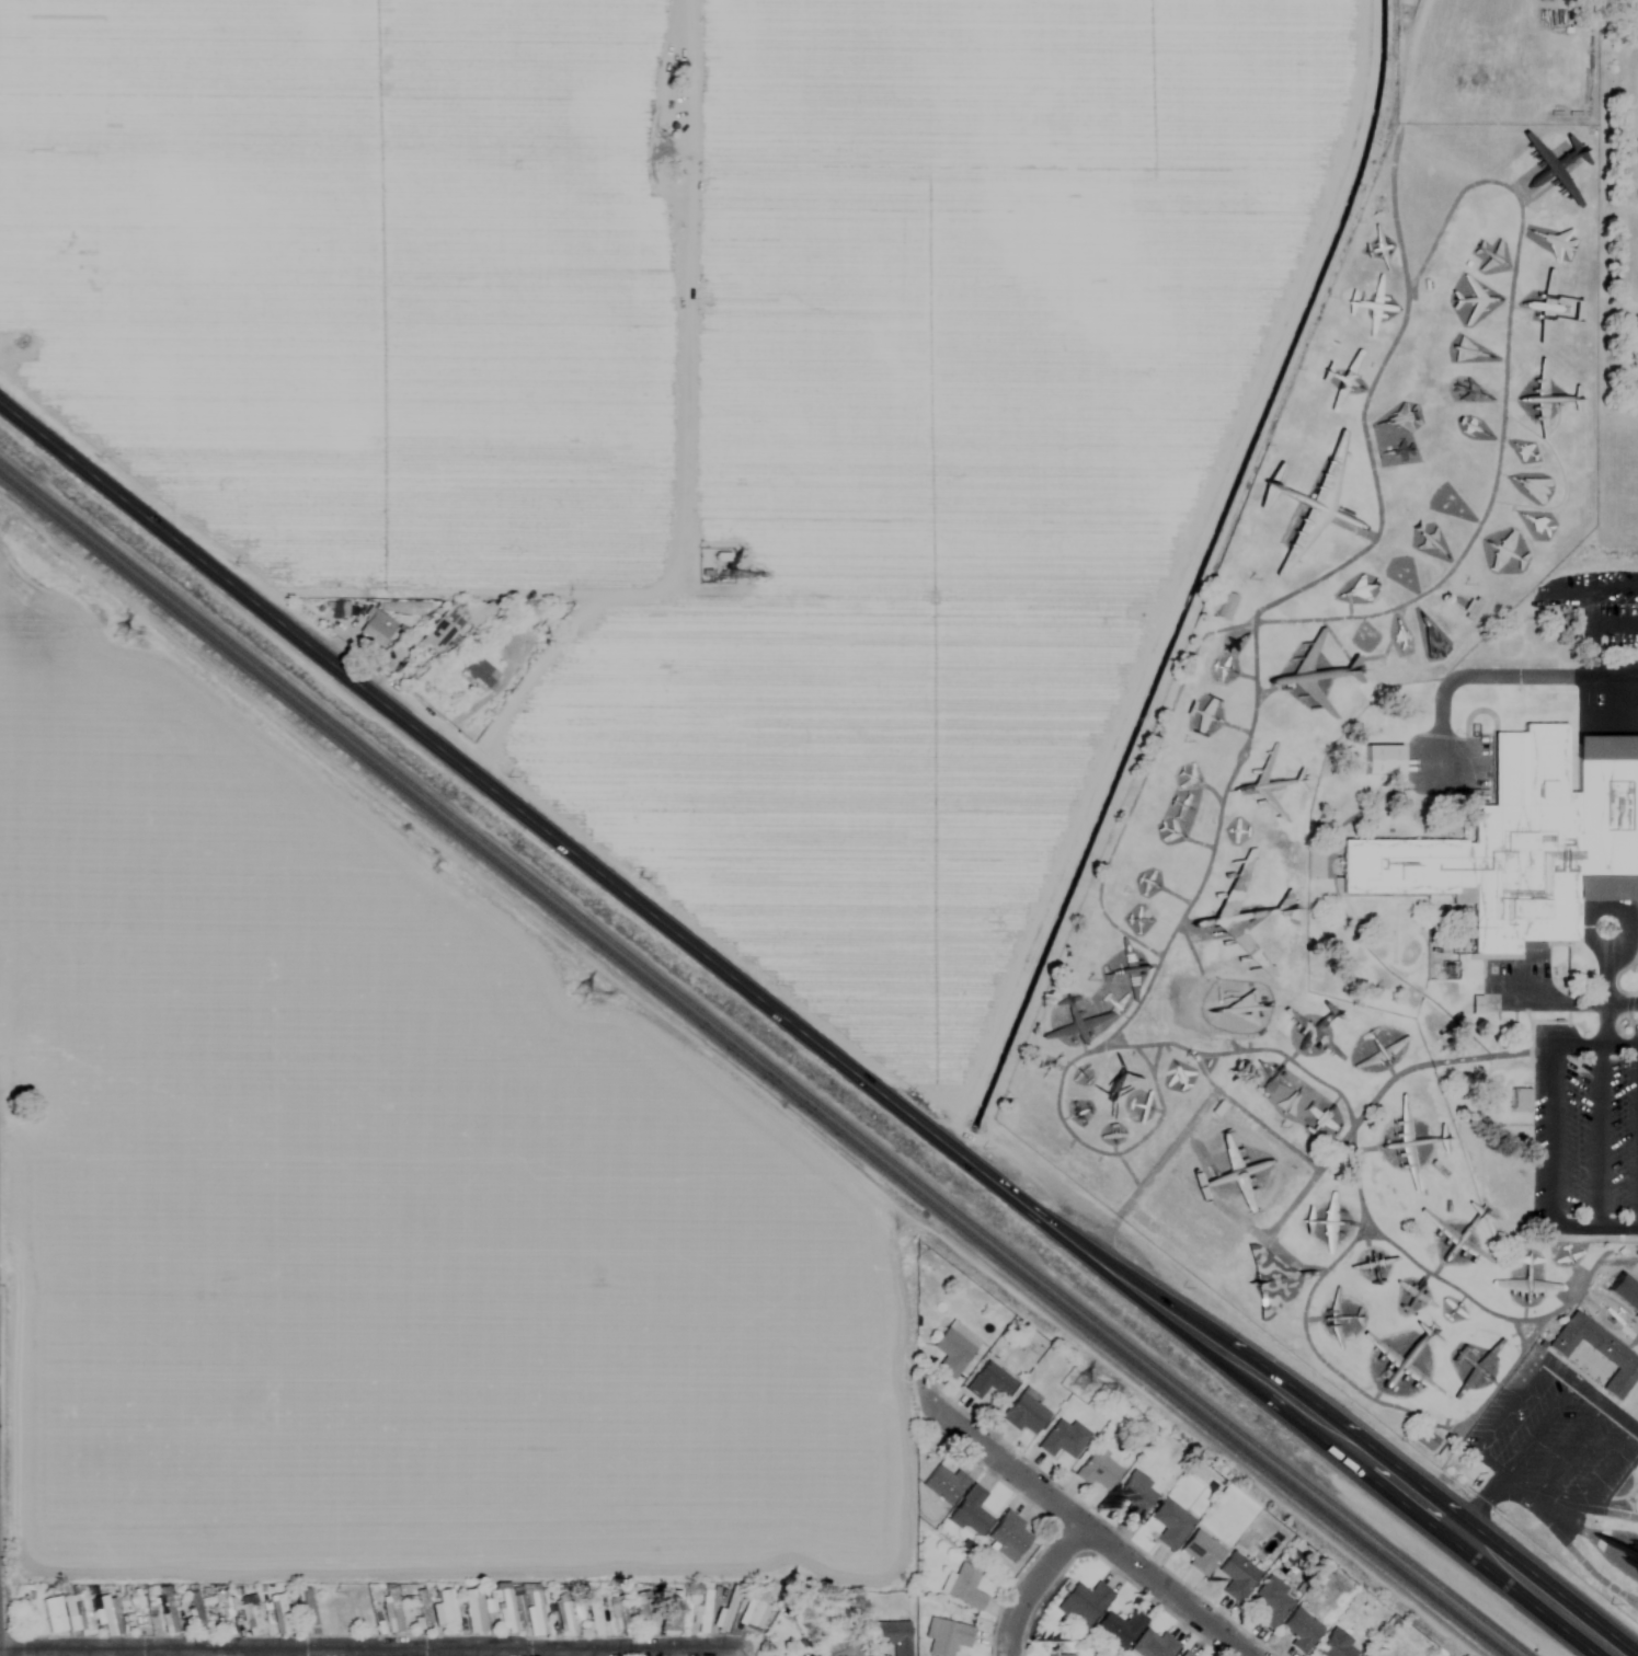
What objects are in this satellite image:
crop: (707, 390)
building: (718, 570)
road: (1319, 572)
building: (1470, 607)
building: (375, 628)
road: (1594, 628)
building: (440, 632)
power tower: (122, 633)
road: (1391, 635)
building: (480, 672)
road: (1503, 672)
building: (1382, 757)
building: (1525, 843)
road: (620, 888)
road: (1623, 919)
building: (1436, 970)
power tower: (585, 999)
road: (1563, 1002)
building: (1476, 1004)
building: (1080, 1020)
road: (1605, 1025)
road: (1181, 1040)
road: (1595, 1047)
railway: (764, 1058)
railway: (752, 1066)
building: (1519, 1099)
road: (1058, 1113)
building: (1318, 1117)
road: (1268, 1129)
parking lot: (1584, 1130)
road: (1554, 1137)
road: (1596, 1137)
building: (1194, 1170)
building: (1233, 1175)
crop: (369, 1205)
road: (1595, 1227)
building: (1273, 1281)
building: (1625, 1292)
building: (953, 1348)
building: (1596, 1352)
building: (989, 1382)
power tower: (1087, 1383)
road: (1373, 1390)
road: (1510, 1406)
building: (1026, 1414)
road: (1540, 1428)
building: (1063, 1439)
parking lot: (1551, 1442)
road: (1614, 1450)
road: (1560, 1462)
building: (1097, 1471)
building: (944, 1485)
building: (1136, 1496)
road: (1484, 1504)
building: (971, 1511)
road: (1431, 1511)
building: (1170, 1523)
road: (1084, 1527)
building: (1008, 1538)
building: (1623, 1550)
building: (1201, 1552)
building: (1237, 1576)
building: (964, 1586)
road: (1036, 1586)
building: (1086, 1600)
building: (1272, 1602)
building: (422, 1609)
building: (444, 1609)
building: (474, 1609)
building: (532, 1609)
building: (725, 1609)
building: (168, 1610)
building: (393, 1610)
building: (307, 1611)
building: (506, 1611)
building: (674, 1611)
building: (224, 1612)
building: (754, 1612)
building: (195, 1613)
building: (592, 1613)
building: (644, 1613)
building: (700, 1613)
building: (363, 1614)
building: (53, 1615)
building: (110, 1615)
building: (250, 1615)
building: (278, 1615)
building: (334, 1615)
building: (618, 1619)
building: (1120, 1628)
building: (1301, 1631)
building: (892, 1636)
building: (947, 1637)
building: (844, 1644)
building: (1156, 1645)
building: (1337, 1646)
road: (353, 1649)
road: (592, 1652)
road: (250, 1653)
road: (359, 1653)
road: (476, 1653)
road: (0, 1654)
building: (1185, 1654)
building: (809, 1655)
building: (1061, 1655)
building: (1365, 1655)

